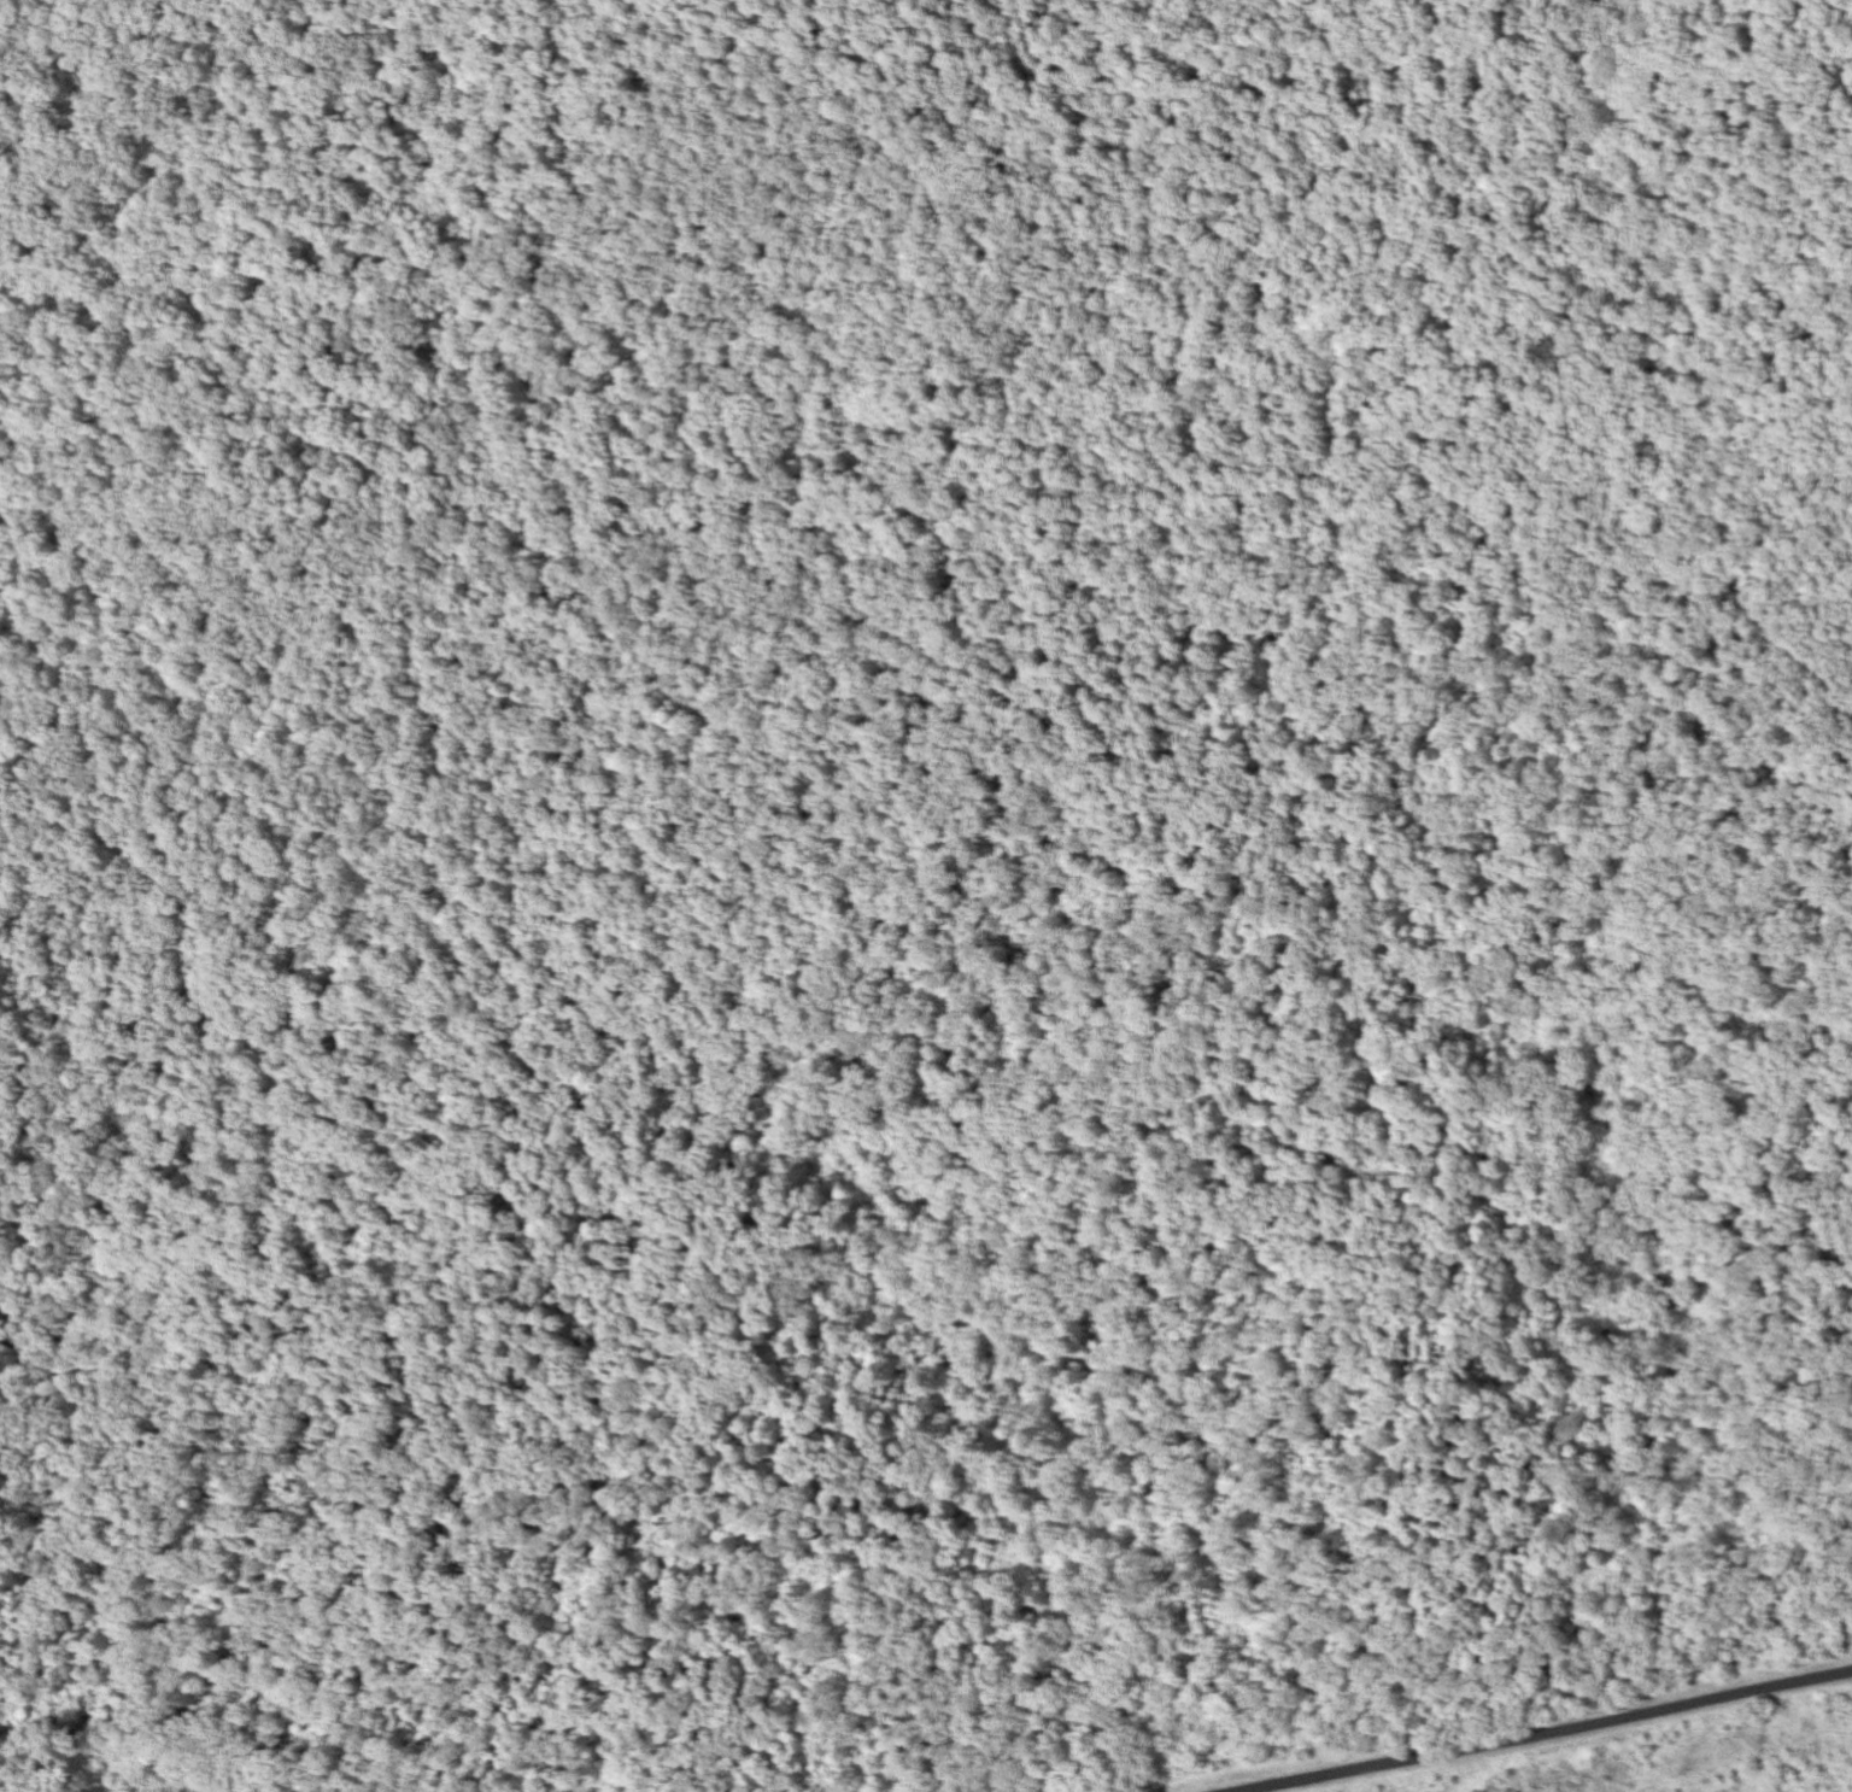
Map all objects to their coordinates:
road: (1553, 1733)

